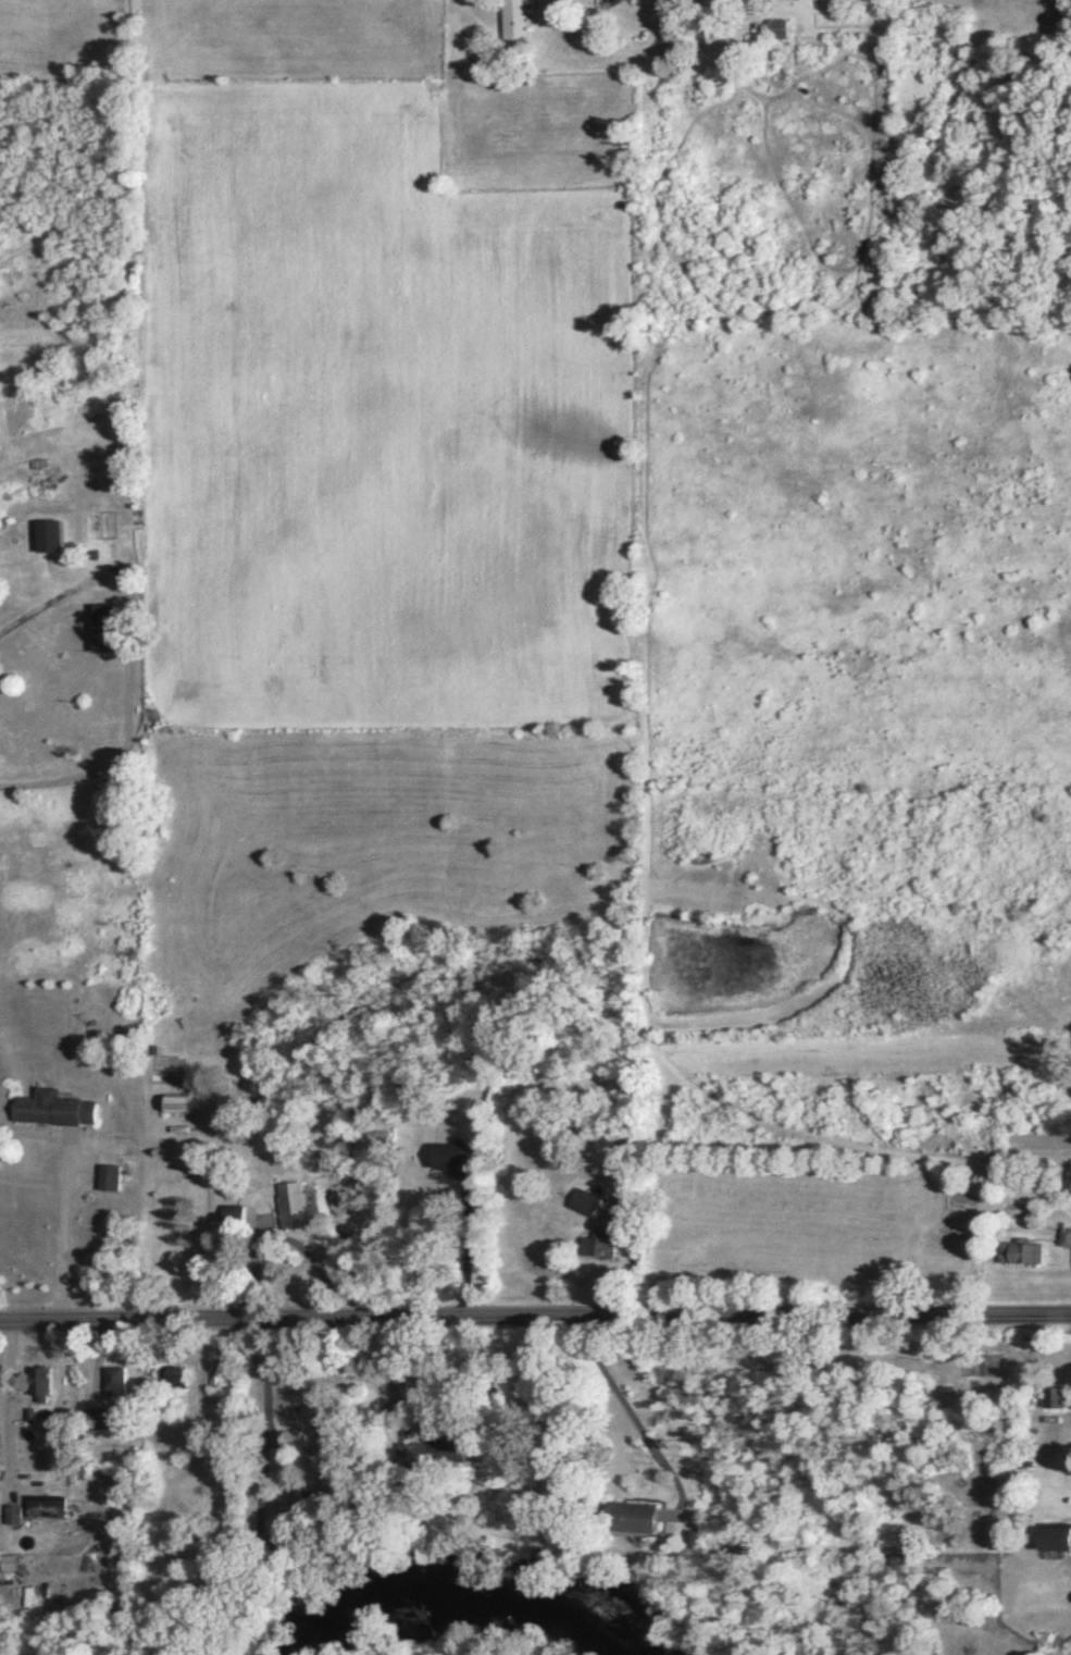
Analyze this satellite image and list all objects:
building: (512, 22)
building: (776, 34)
building: (47, 542)
building: (101, 634)
road: (124, 663)
building: (174, 1110)
building: (51, 1114)
building: (451, 1162)
building: (107, 1182)
building: (583, 1207)
building: (296, 1211)
building: (232, 1220)
road: (63, 1231)
building: (1064, 1242)
building: (598, 1249)
road: (468, 1252)
building: (1020, 1257)
road: (535, 1314)
road: (387, 1376)
building: (171, 1382)
building: (113, 1386)
building: (39, 1388)
road: (623, 1403)
building: (1054, 1403)
road: (3, 1406)
road: (265, 1410)
building: (99, 1424)
building: (432, 1460)
road: (266, 1477)
building: (59, 1500)
building: (13, 1519)
building: (626, 1521)
building: (1055, 1544)
river: (472, 1601)

